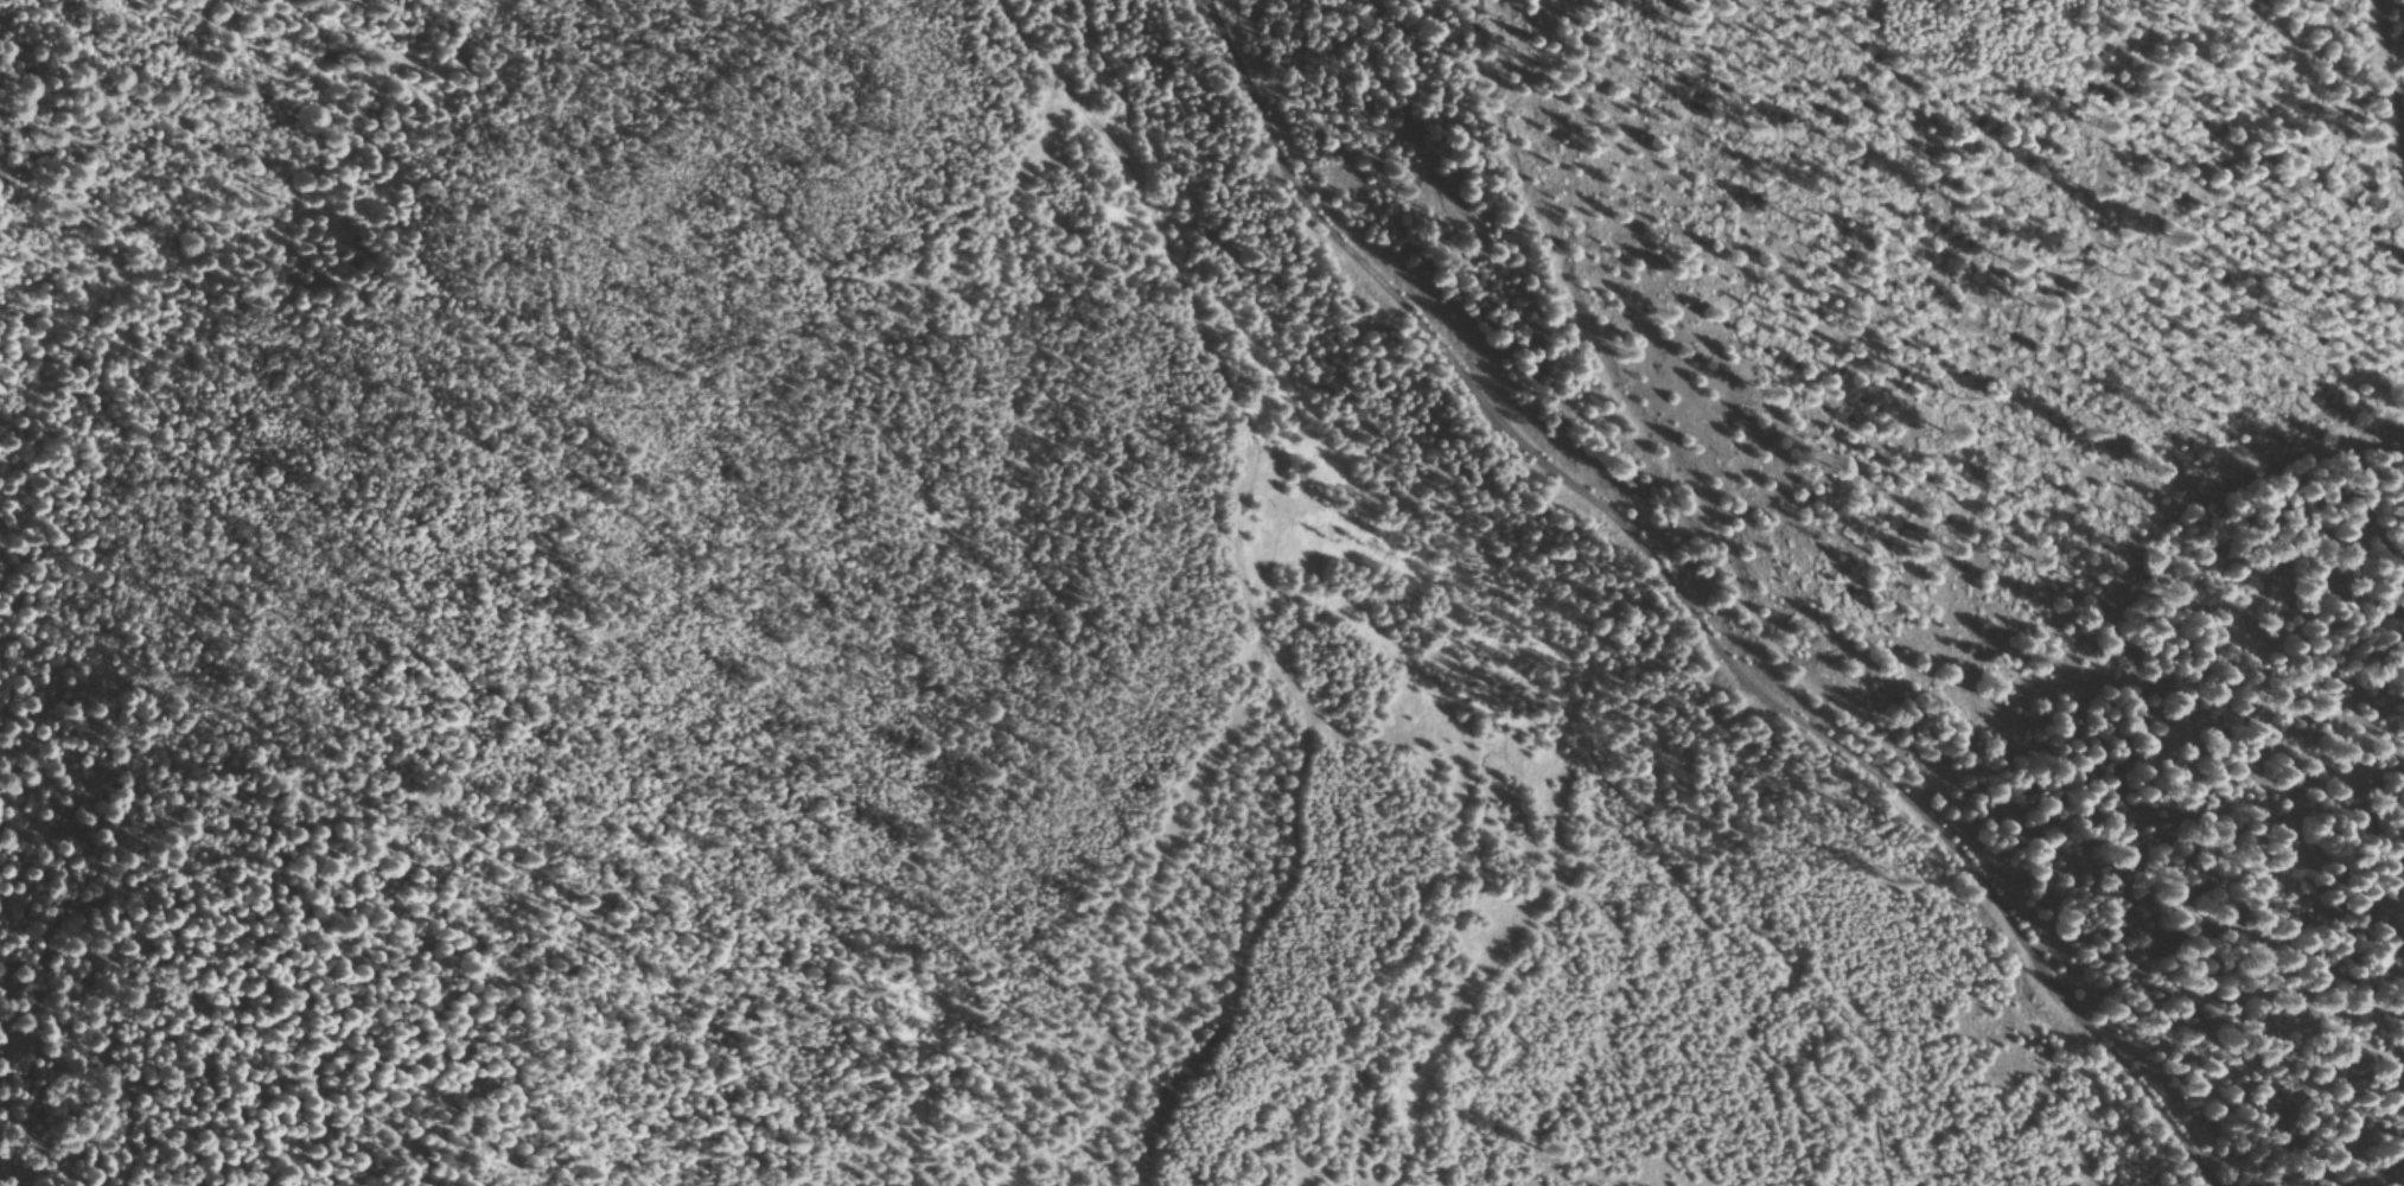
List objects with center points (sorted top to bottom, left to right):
road: (2379, 218)

